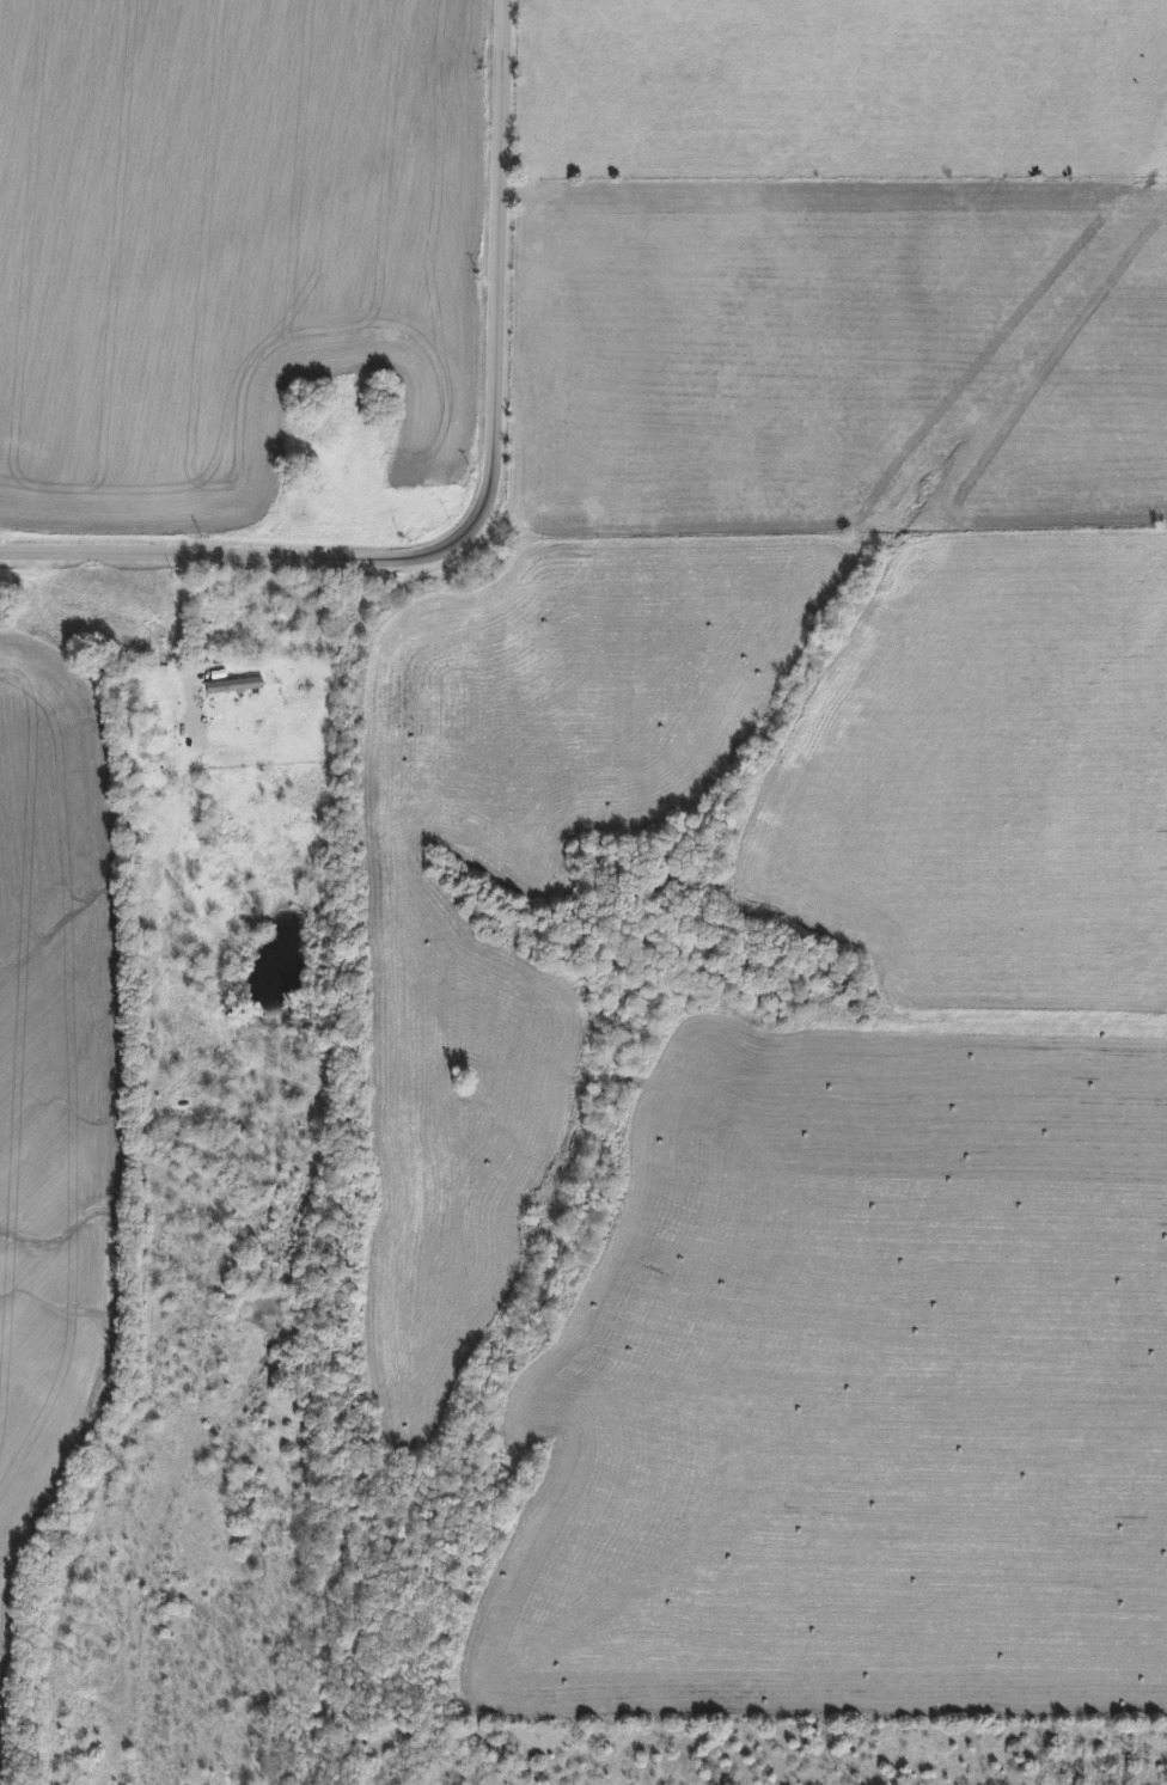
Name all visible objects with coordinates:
road: (481, 502)
road: (181, 623)

